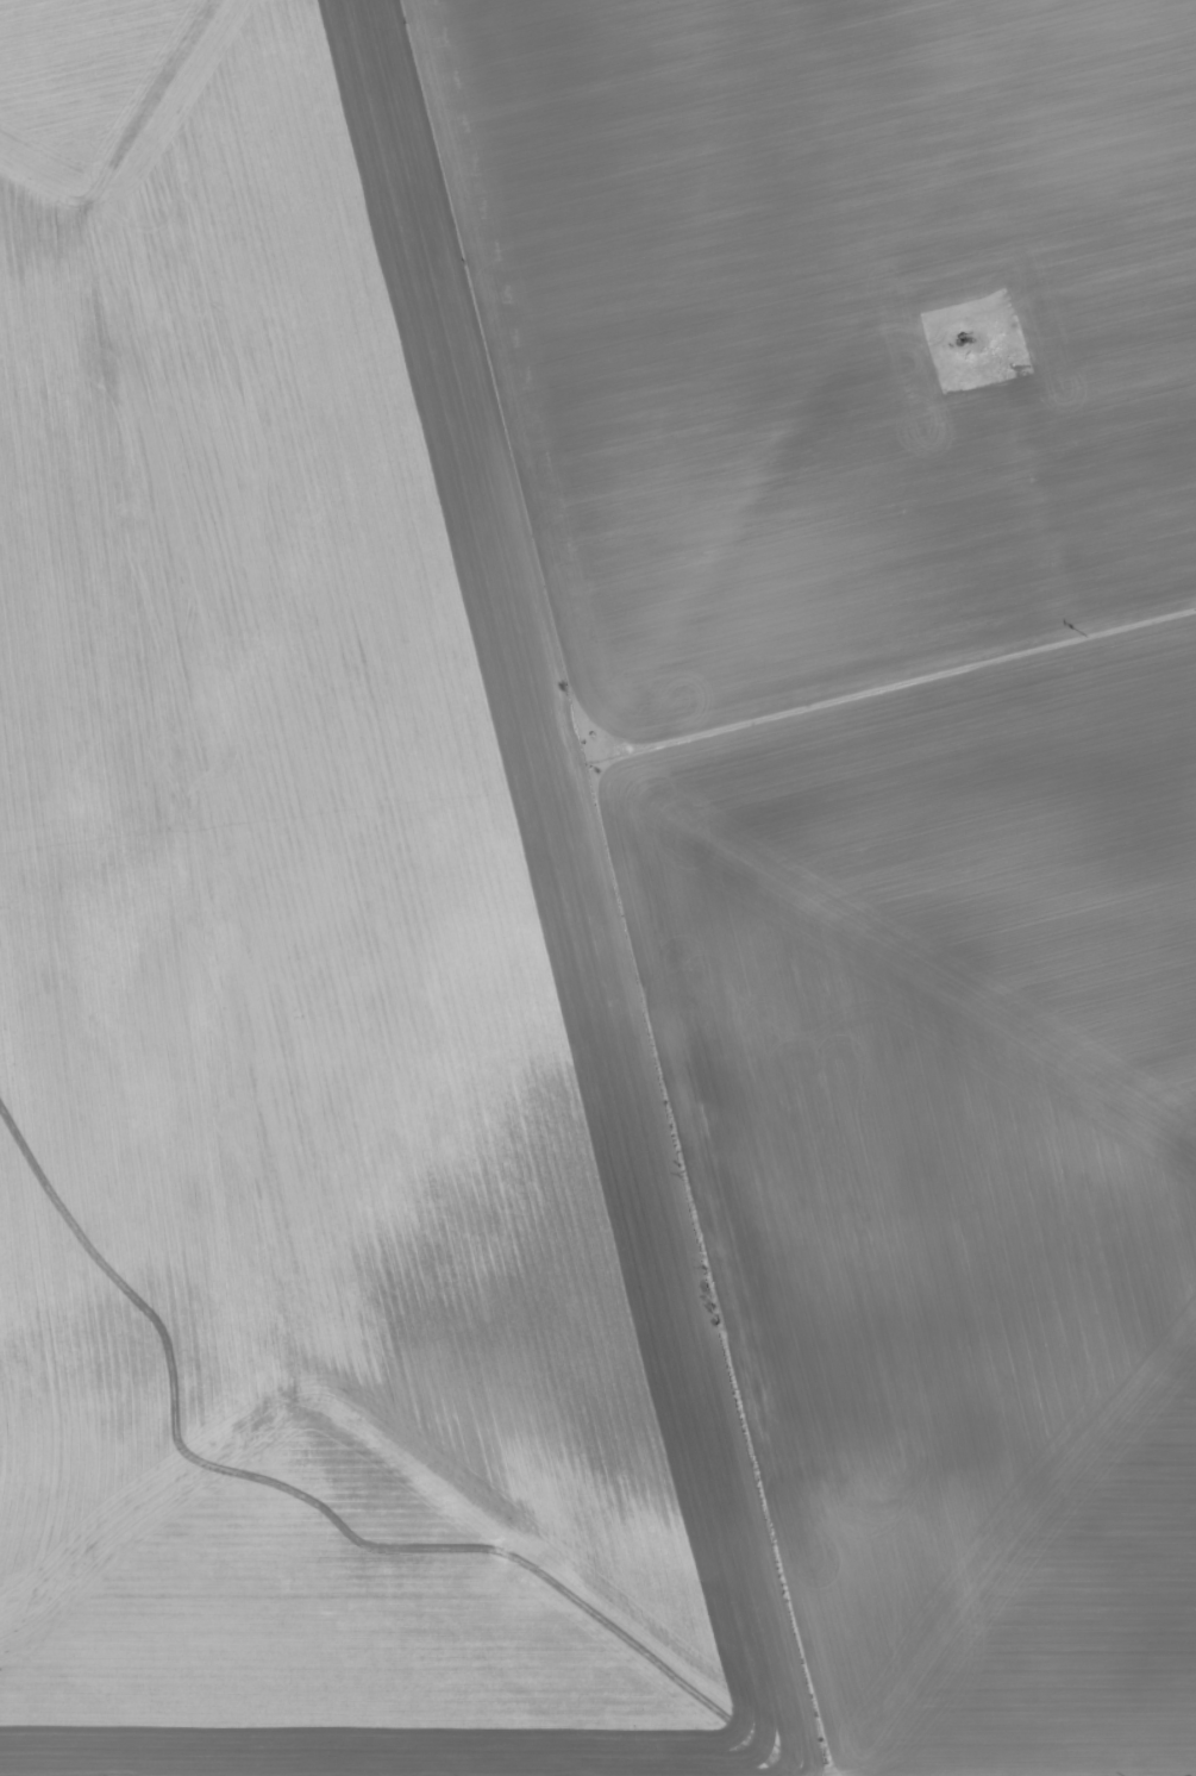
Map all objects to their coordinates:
road: (238, 1593)

